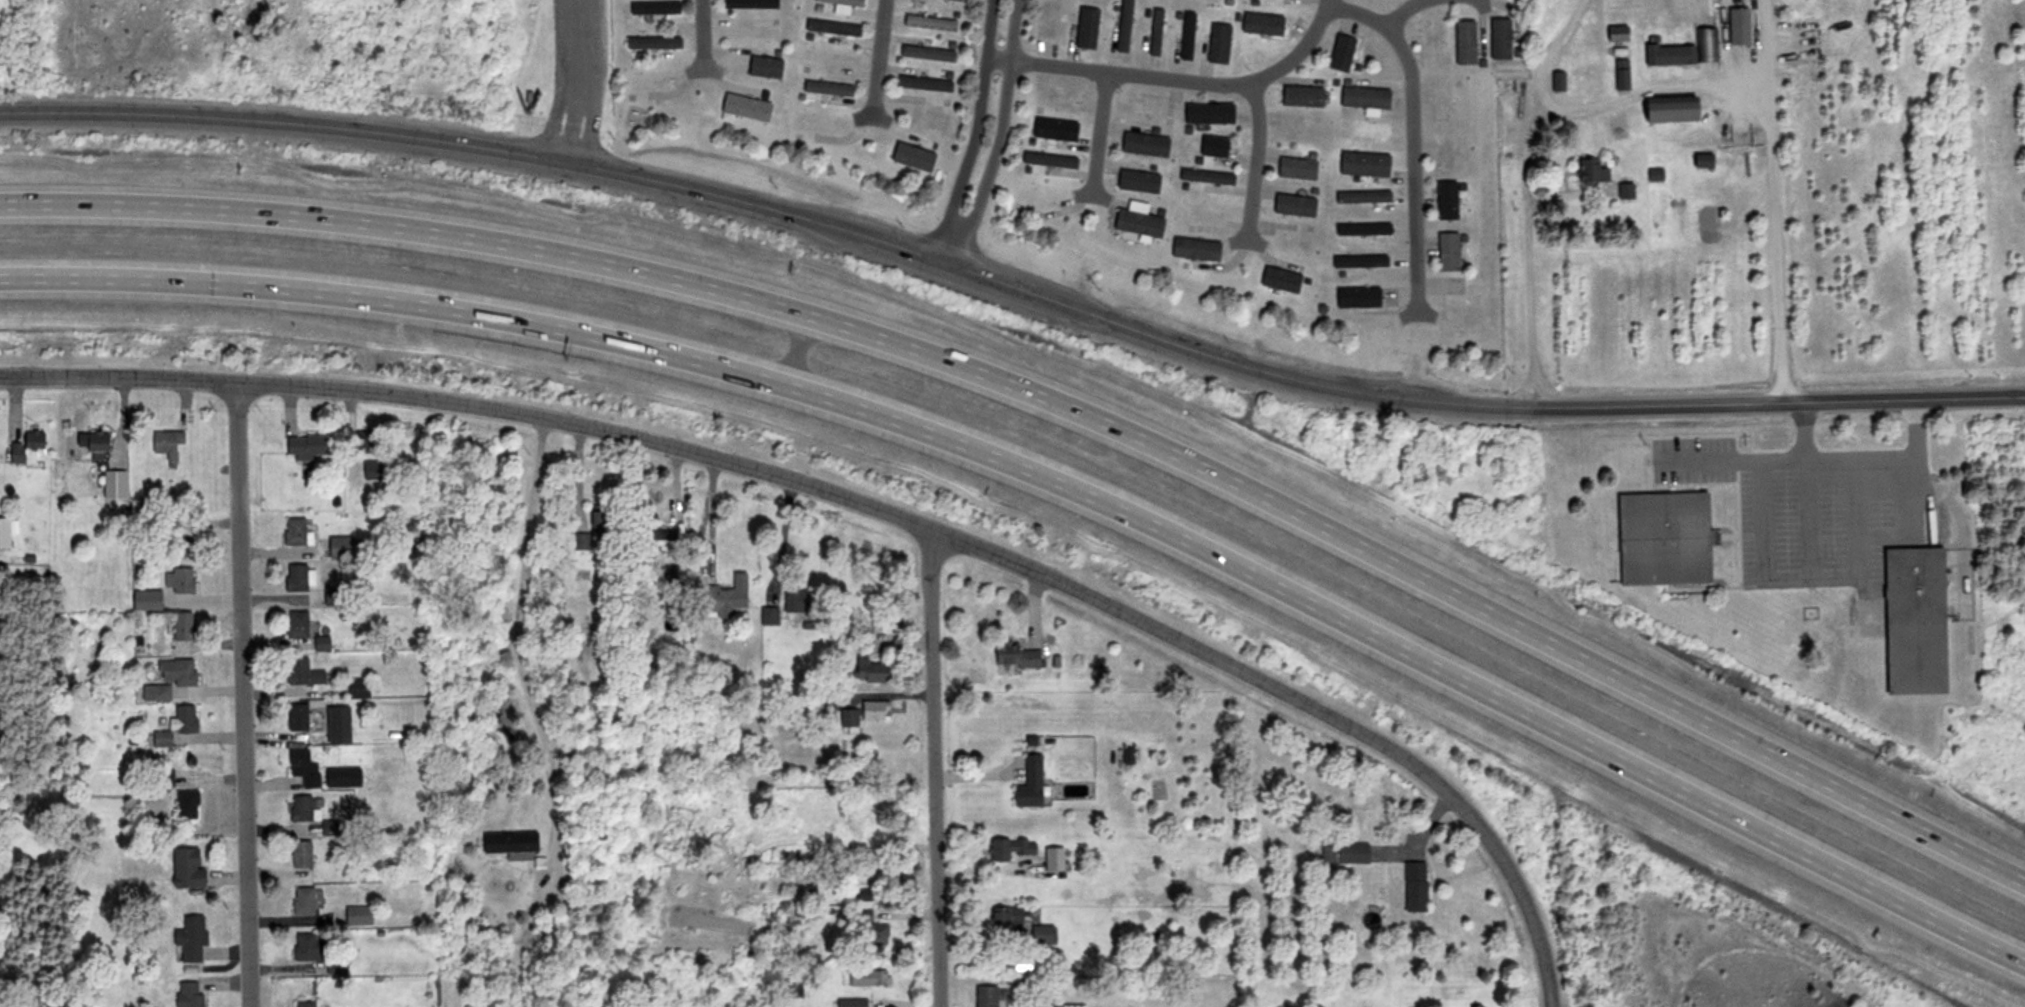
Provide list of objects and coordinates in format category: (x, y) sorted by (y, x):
building: (748, 4)
building: (840, 5)
road: (1421, 6)
building: (652, 9)
building: (1265, 21)
building: (1050, 22)
building: (927, 23)
building: (1088, 24)
building: (1122, 26)
building: (1157, 26)
building: (1737, 27)
building: (831, 28)
building: (1189, 32)
building: (752, 33)
building: (1218, 34)
building: (1616, 34)
road: (701, 37)
building: (1430, 38)
building: (1498, 39)
building: (652, 41)
building: (1463, 43)
building: (1338, 50)
building: (926, 53)
building: (1668, 55)
building: (829, 56)
road: (883, 63)
building: (763, 67)
building: (649, 79)
building: (1620, 79)
road: (573, 80)
building: (1556, 83)
building: (923, 84)
road: (1177, 84)
building: (826, 88)
road: (1646, 88)
building: (1301, 97)
building: (1056, 98)
building: (1364, 98)
building: (1446, 101)
building: (1137, 107)
building: (1669, 109)
building: (745, 110)
building: (1207, 114)
building: (931, 119)
building: (1048, 126)
building: (1362, 128)
road: (973, 130)
road: (995, 134)
building: (1306, 135)
road: (1412, 135)
road: (1099, 142)
building: (1143, 145)
building: (1212, 147)
building: (1446, 150)
building: (911, 158)
road: (1257, 164)
building: (1362, 164)
building: (1295, 170)
building: (1206, 172)
building: (1590, 172)
building: (1136, 182)
building: (1035, 186)
building: (1624, 192)
building: (1363, 193)
road: (1520, 197)
road: (1767, 198)
building: (1445, 202)
road: (775, 206)
building: (1298, 208)
building: (1201, 212)
building: (1136, 221)
building: (1363, 221)
building: (1300, 244)
building: (1194, 251)
building: (1447, 252)
building: (1366, 254)
building: (1282, 282)
building: (1356, 299)
building: (1456, 315)
road: (1056, 396)
road: (1777, 397)
building: (362, 442)
building: (304, 444)
building: (95, 445)
building: (165, 445)
building: (25, 447)
road: (1528, 455)
road: (1818, 459)
building: (370, 471)
road: (576, 475)
road: (1056, 476)
road: (871, 507)
building: (597, 519)
building: (292, 532)
building: (1660, 538)
building: (656, 540)
building: (580, 541)
road: (1760, 542)
building: (180, 543)
building: (339, 547)
road: (1804, 576)
building: (298, 577)
building: (178, 580)
building: (333, 596)
building: (722, 597)
building: (145, 600)
building: (794, 600)
building: (767, 616)
building: (1912, 621)
building: (296, 624)
building: (181, 626)
building: (859, 641)
building: (320, 643)
road: (514, 644)
building: (1012, 656)
building: (868, 670)
building: (176, 671)
building: (300, 673)
building: (357, 688)
building: (157, 692)
road: (247, 695)
building: (862, 713)
building: (296, 716)
building: (182, 719)
building: (302, 768)
road: (935, 770)
building: (1029, 783)
building: (185, 804)
building: (300, 809)
building: (328, 827)
building: (869, 834)
road: (1419, 835)
building: (507, 842)
building: (1008, 848)
building: (1343, 853)
building: (300, 854)
building: (1052, 859)
building: (185, 868)
building: (1413, 888)
building: (301, 902)
building: (356, 916)
building: (1005, 918)
building: (1041, 935)
building: (871, 937)
building: (189, 938)
building: (308, 949)
building: (862, 978)
building: (790, 989)
building: (188, 995)
building: (984, 996)
building: (850, 1002)
road: (1552, 1003)
building: (303, 1004)
building: (1071, 1006)

